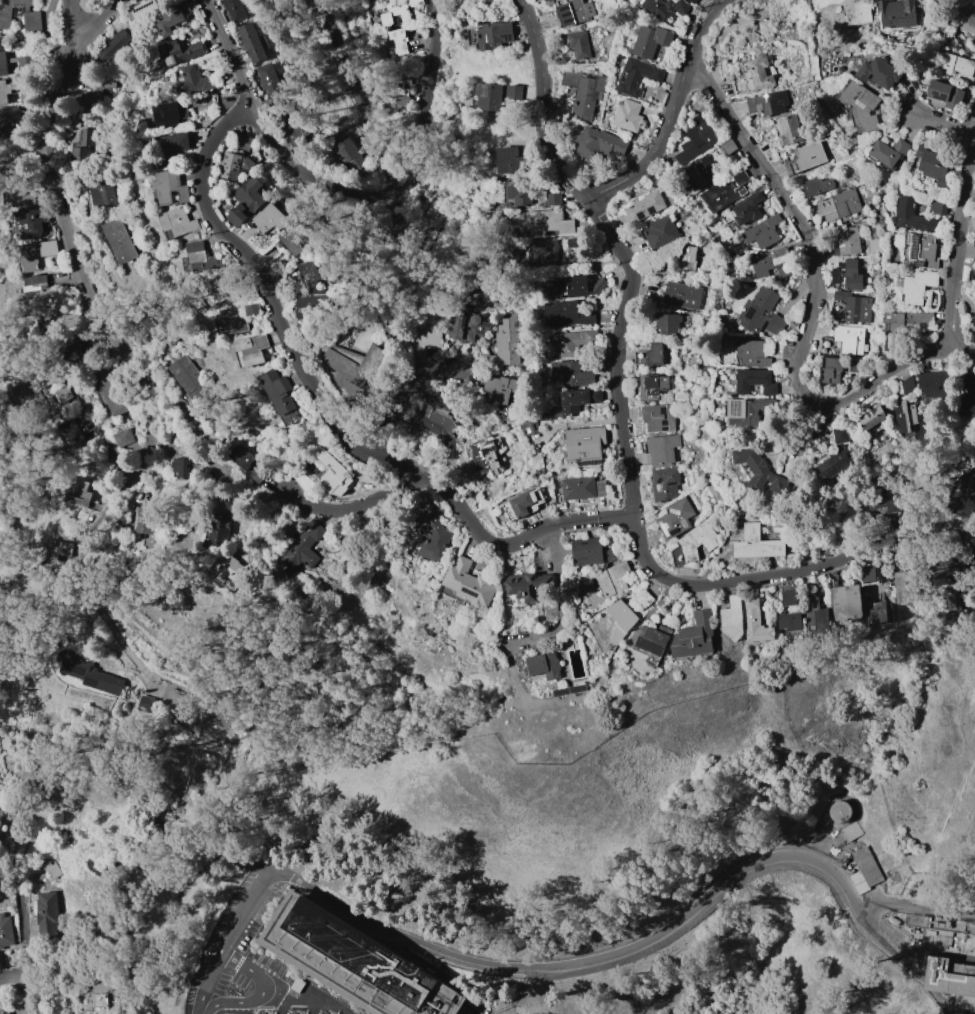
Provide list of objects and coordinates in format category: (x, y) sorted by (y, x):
building: (467, 0)
building: (551, 0)
building: (692, 1)
building: (417, 3)
building: (666, 7)
building: (144, 8)
building: (238, 9)
building: (395, 13)
building: (574, 13)
building: (964, 13)
building: (854, 14)
building: (897, 14)
building: (22, 15)
road: (92, 16)
building: (173, 20)
building: (767, 27)
building: (494, 34)
building: (400, 41)
building: (255, 42)
building: (114, 43)
building: (653, 43)
building: (580, 45)
building: (184, 51)
building: (25, 63)
building: (4, 64)
building: (958, 66)
building: (758, 70)
building: (878, 73)
building: (638, 75)
building: (199, 81)
building: (273, 81)
building: (108, 84)
building: (404, 89)
building: (8, 90)
building: (585, 92)
road: (353, 93)
building: (946, 94)
building: (501, 95)
road: (544, 104)
building: (770, 104)
building: (861, 105)
road: (673, 113)
building: (170, 114)
building: (628, 115)
building: (11, 117)
road: (942, 121)
building: (293, 128)
building: (791, 130)
building: (86, 136)
building: (699, 136)
building: (248, 143)
building: (599, 143)
building: (178, 146)
building: (729, 147)
building: (888, 153)
building: (348, 156)
building: (80, 157)
building: (806, 158)
building: (512, 161)
building: (934, 164)
building: (239, 166)
building: (700, 174)
building: (817, 186)
building: (176, 188)
road: (347, 190)
building: (726, 191)
building: (515, 195)
building: (23, 198)
building: (105, 199)
building: (553, 199)
building: (250, 201)
building: (939, 201)
building: (840, 205)
building: (645, 207)
building: (748, 209)
building: (913, 216)
building: (273, 218)
building: (435, 218)
building: (31, 221)
building: (548, 222)
building: (183, 223)
building: (763, 231)
building: (661, 234)
building: (300, 237)
building: (122, 241)
building: (577, 242)
building: (846, 242)
road: (958, 245)
building: (872, 247)
building: (922, 250)
building: (546, 251)
building: (39, 254)
building: (205, 257)
building: (689, 258)
building: (773, 262)
road: (78, 263)
building: (974, 271)
building: (848, 276)
building: (38, 286)
building: (599, 286)
building: (974, 286)
building: (917, 287)
building: (222, 288)
building: (568, 288)
building: (316, 291)
building: (682, 295)
building: (855, 307)
road: (812, 308)
building: (762, 314)
building: (568, 315)
building: (974, 316)
building: (62, 318)
building: (157, 318)
building: (240, 318)
building: (45, 323)
building: (668, 324)
building: (901, 327)
building: (468, 328)
building: (850, 339)
building: (425, 341)
building: (508, 341)
building: (264, 342)
building: (573, 342)
building: (246, 344)
building: (750, 353)
building: (650, 355)
building: (357, 362)
building: (853, 366)
building: (832, 370)
building: (573, 373)
building: (191, 381)
building: (753, 381)
building: (908, 385)
building: (935, 385)
building: (654, 387)
building: (500, 389)
building: (279, 392)
building: (967, 393)
building: (62, 395)
building: (110, 395)
road: (400, 396)
building: (25, 397)
building: (579, 400)
building: (750, 411)
building: (438, 413)
road: (327, 418)
building: (659, 418)
building: (872, 418)
building: (906, 419)
building: (530, 426)
road: (814, 426)
building: (76, 431)
building: (123, 438)
building: (585, 444)
road: (109, 446)
building: (662, 448)
building: (488, 456)
building: (836, 456)
building: (244, 463)
building: (182, 465)
building: (759, 471)
building: (334, 474)
building: (259, 475)
building: (916, 479)
building: (965, 483)
building: (665, 484)
building: (583, 488)
building: (81, 493)
building: (883, 498)
building: (523, 504)
road: (347, 508)
building: (676, 518)
building: (146, 520)
building: (897, 521)
building: (288, 528)
building: (218, 530)
building: (431, 536)
building: (694, 543)
building: (756, 543)
building: (305, 548)
road: (642, 551)
building: (593, 552)
building: (53, 559)
building: (234, 569)
building: (948, 571)
building: (868, 575)
building: (613, 578)
building: (904, 578)
building: (468, 583)
building: (527, 585)
building: (645, 597)
building: (847, 602)
road: (562, 603)
building: (953, 605)
building: (876, 612)
building: (817, 614)
road: (105, 615)
building: (789, 615)
building: (621, 619)
building: (732, 619)
building: (755, 619)
building: (695, 636)
building: (651, 641)
building: (544, 665)
building: (92, 674)
road: (960, 712)
building: (839, 811)
storage tank: (839, 811)
building: (851, 832)
building: (52, 870)
building: (865, 871)
road: (915, 909)
building: (47, 912)
building: (935, 923)
building: (6, 931)
building: (969, 946)
building: (354, 962)
road: (553, 966)
road: (525, 972)
building: (951, 980)
road: (13, 982)
road: (261, 993)
road: (26, 997)
road: (943, 1003)
building: (101, 1004)
building: (4, 1011)
road: (201, 1012)
road: (490, 1013)

